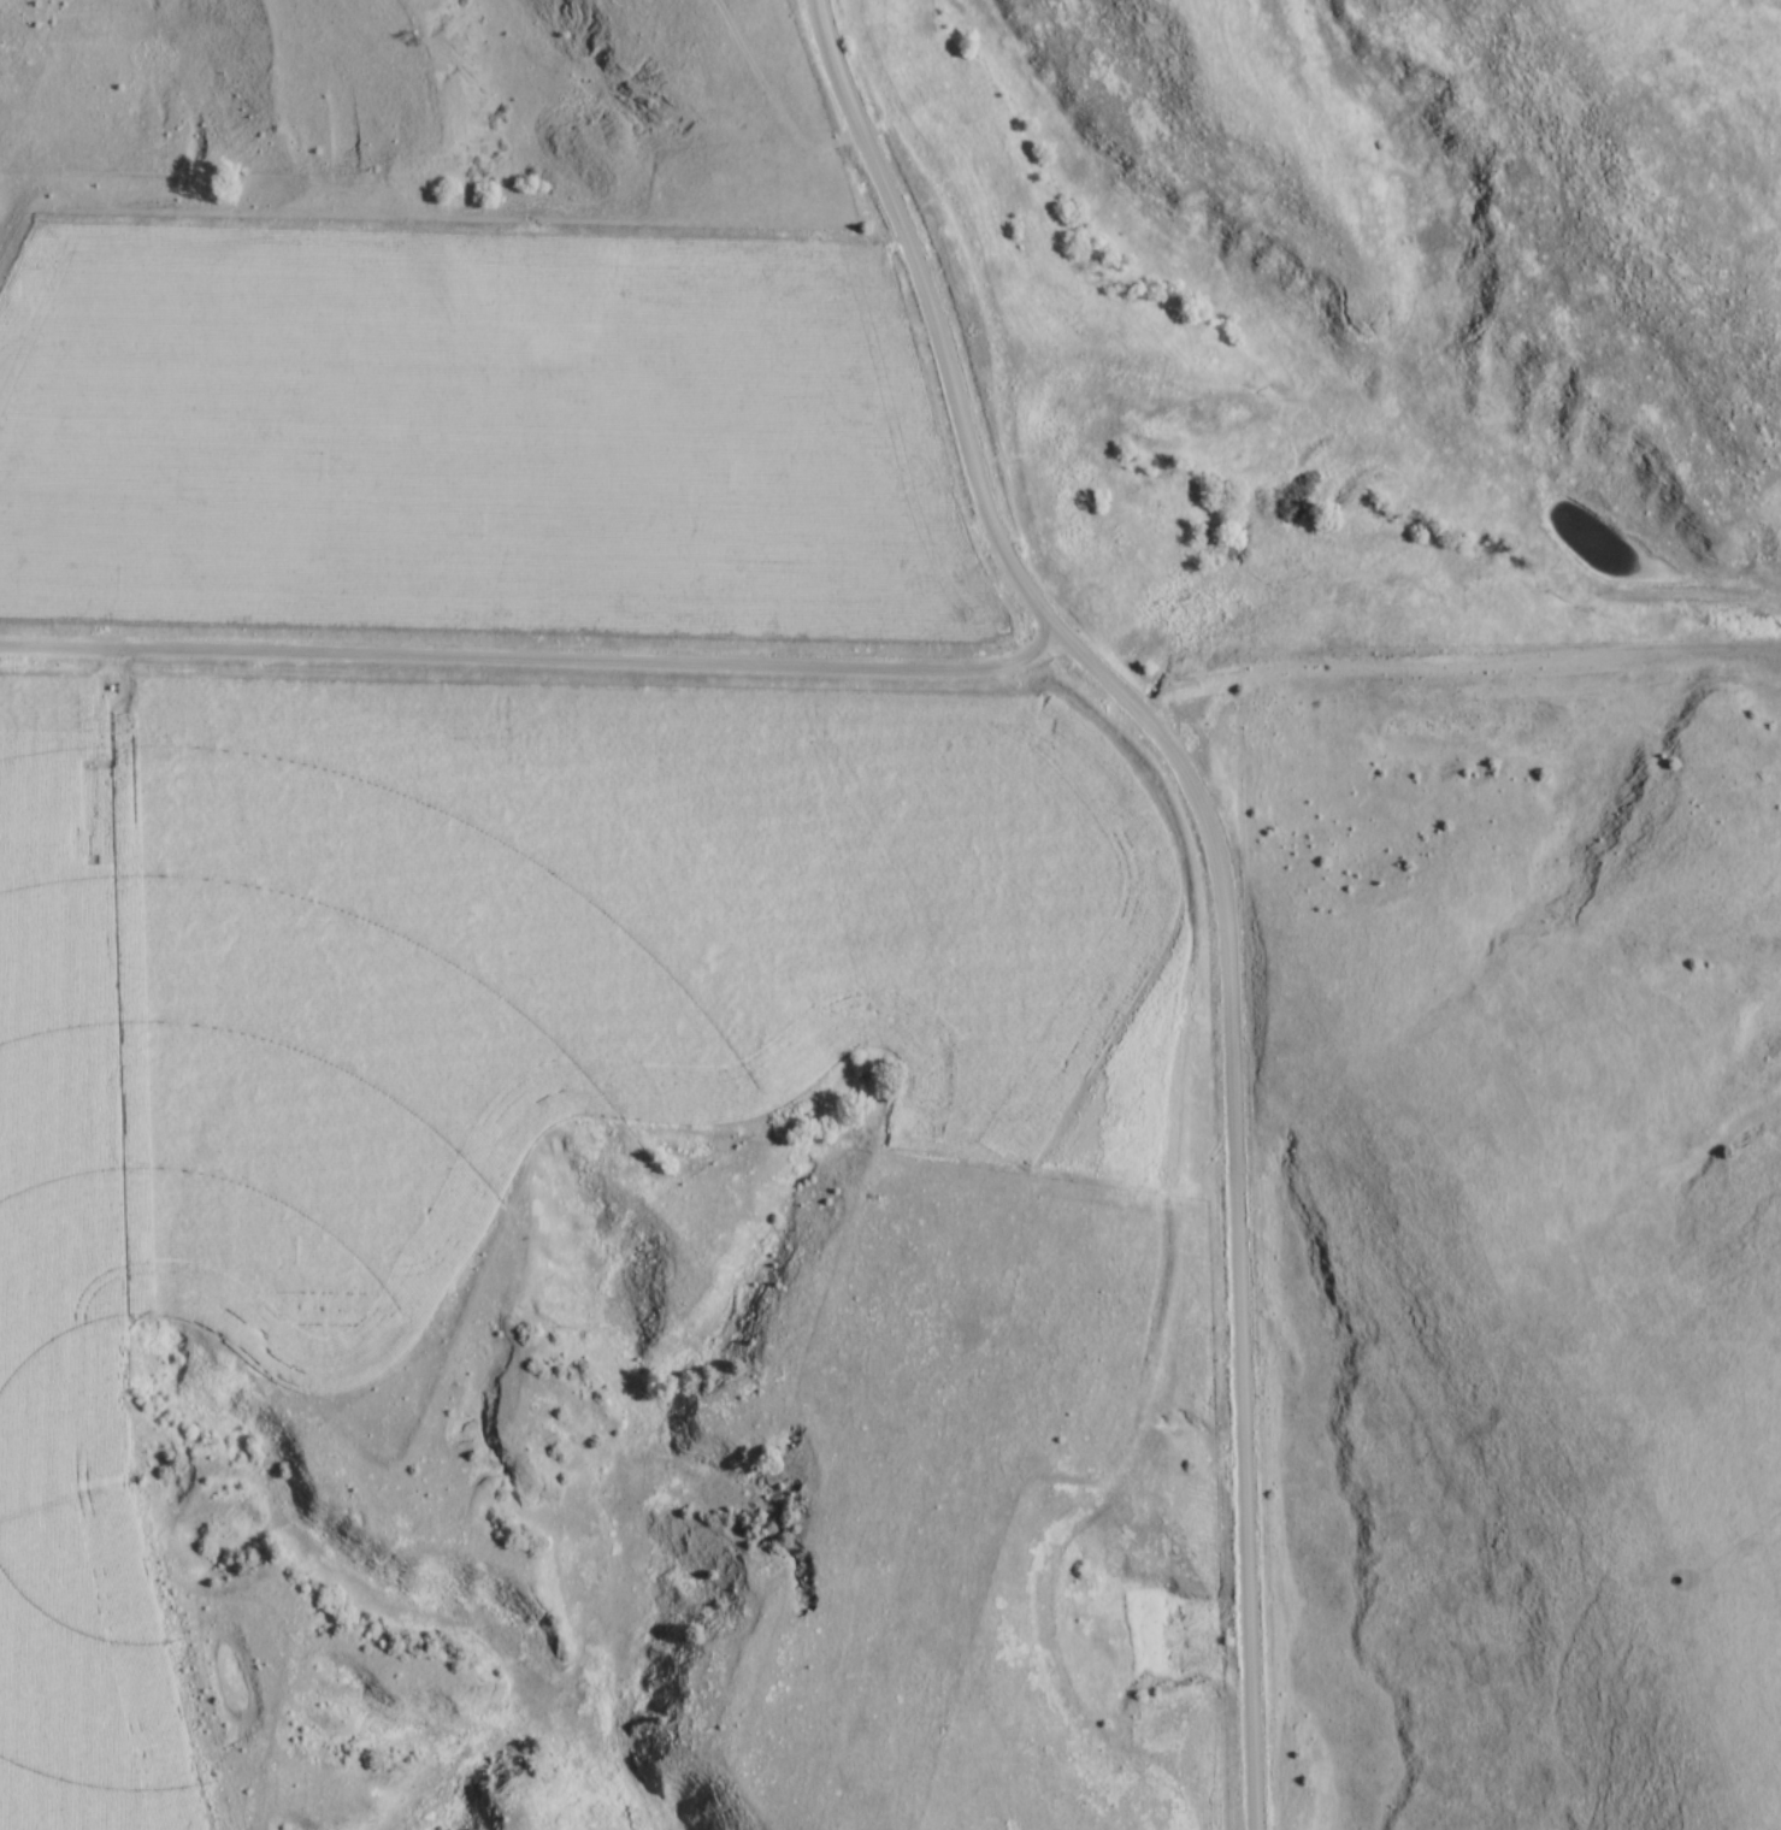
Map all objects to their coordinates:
crop: (470, 432)
road: (1217, 862)

